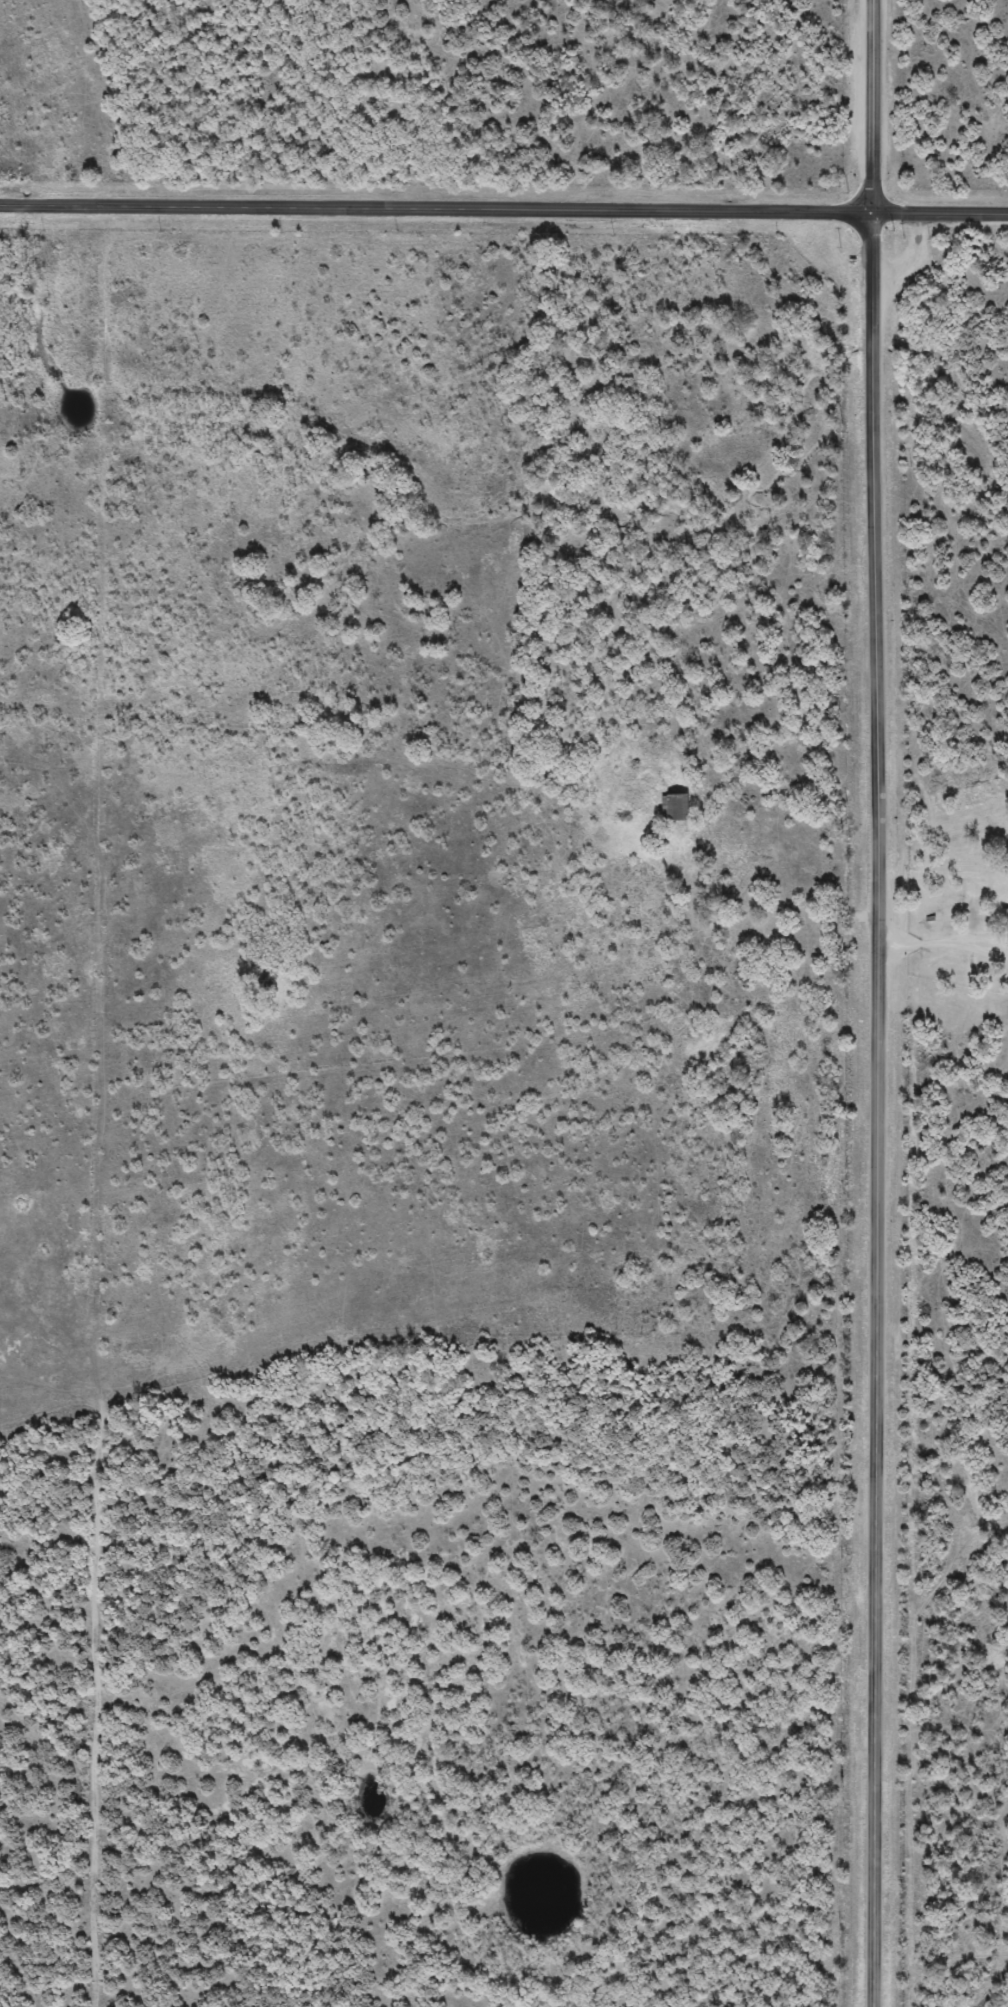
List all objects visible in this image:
road: (503, 211)
building: (681, 809)
building: (1005, 919)
building: (776, 938)
road: (880, 1003)

